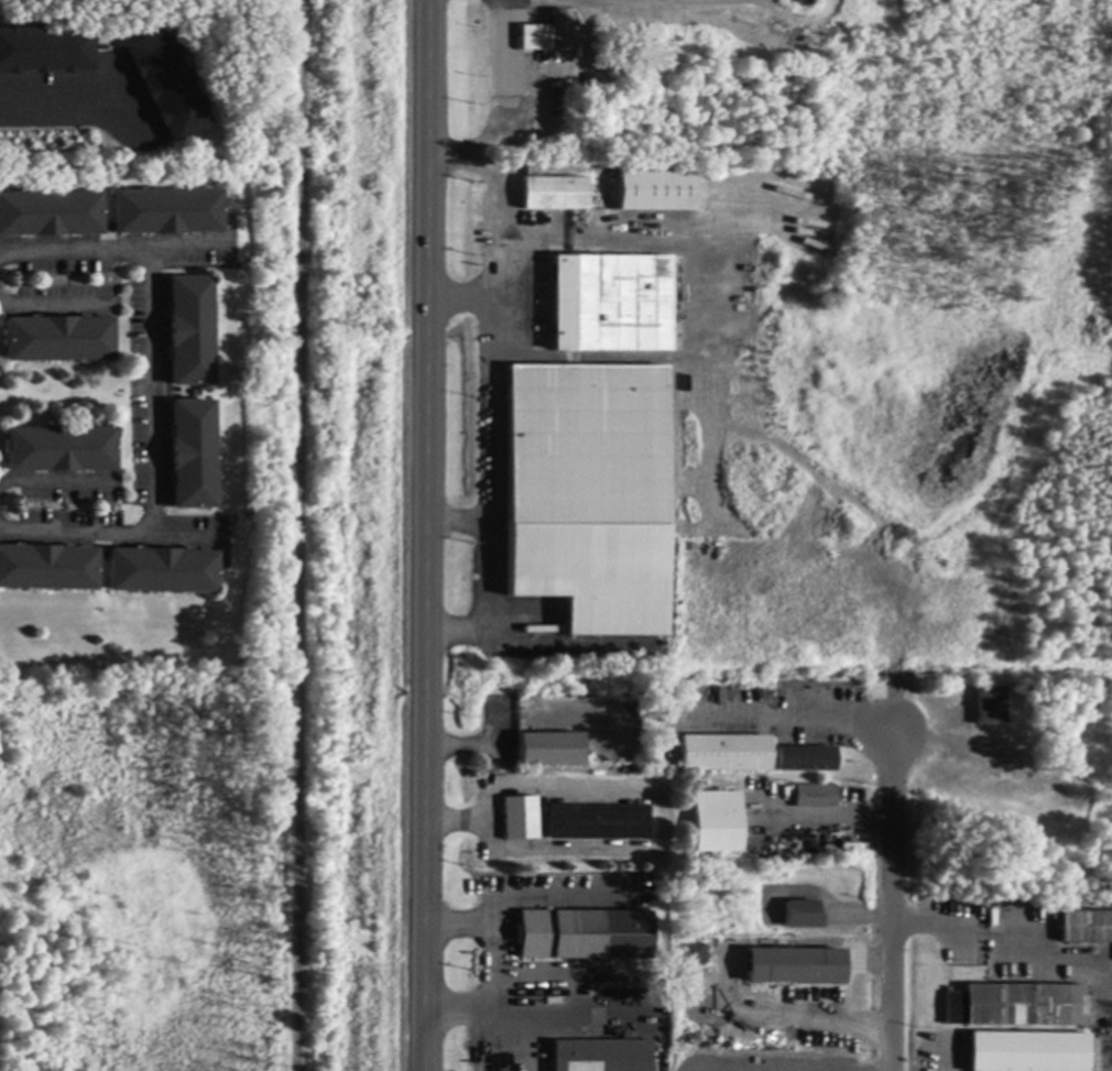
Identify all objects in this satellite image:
building: (550, 34)
building: (45, 51)
building: (606, 64)
building: (555, 77)
building: (167, 86)
road: (56, 100)
building: (537, 110)
road: (454, 159)
building: (656, 192)
building: (555, 195)
building: (166, 212)
building: (50, 215)
road: (117, 249)
road: (461, 298)
road: (56, 305)
building: (612, 305)
power tower: (361, 328)
building: (189, 332)
road: (494, 335)
building: (57, 340)
road: (155, 393)
building: (58, 449)
building: (192, 456)
road: (56, 480)
building: (589, 495)
road: (460, 521)
railway: (299, 535)
road: (428, 535)
road: (112, 537)
building: (46, 568)
building: (161, 571)
building: (991, 707)
road: (803, 718)
power tower: (357, 747)
building: (550, 750)
building: (728, 753)
building: (807, 761)
road: (490, 780)
building: (816, 797)
building: (521, 819)
building: (719, 822)
building: (599, 823)
road: (664, 835)
road: (893, 904)
building: (804, 916)
building: (1087, 927)
building: (586, 936)
building: (696, 955)
road: (492, 964)
building: (796, 968)
building: (1017, 1006)
building: (1029, 1052)
building: (604, 1056)

